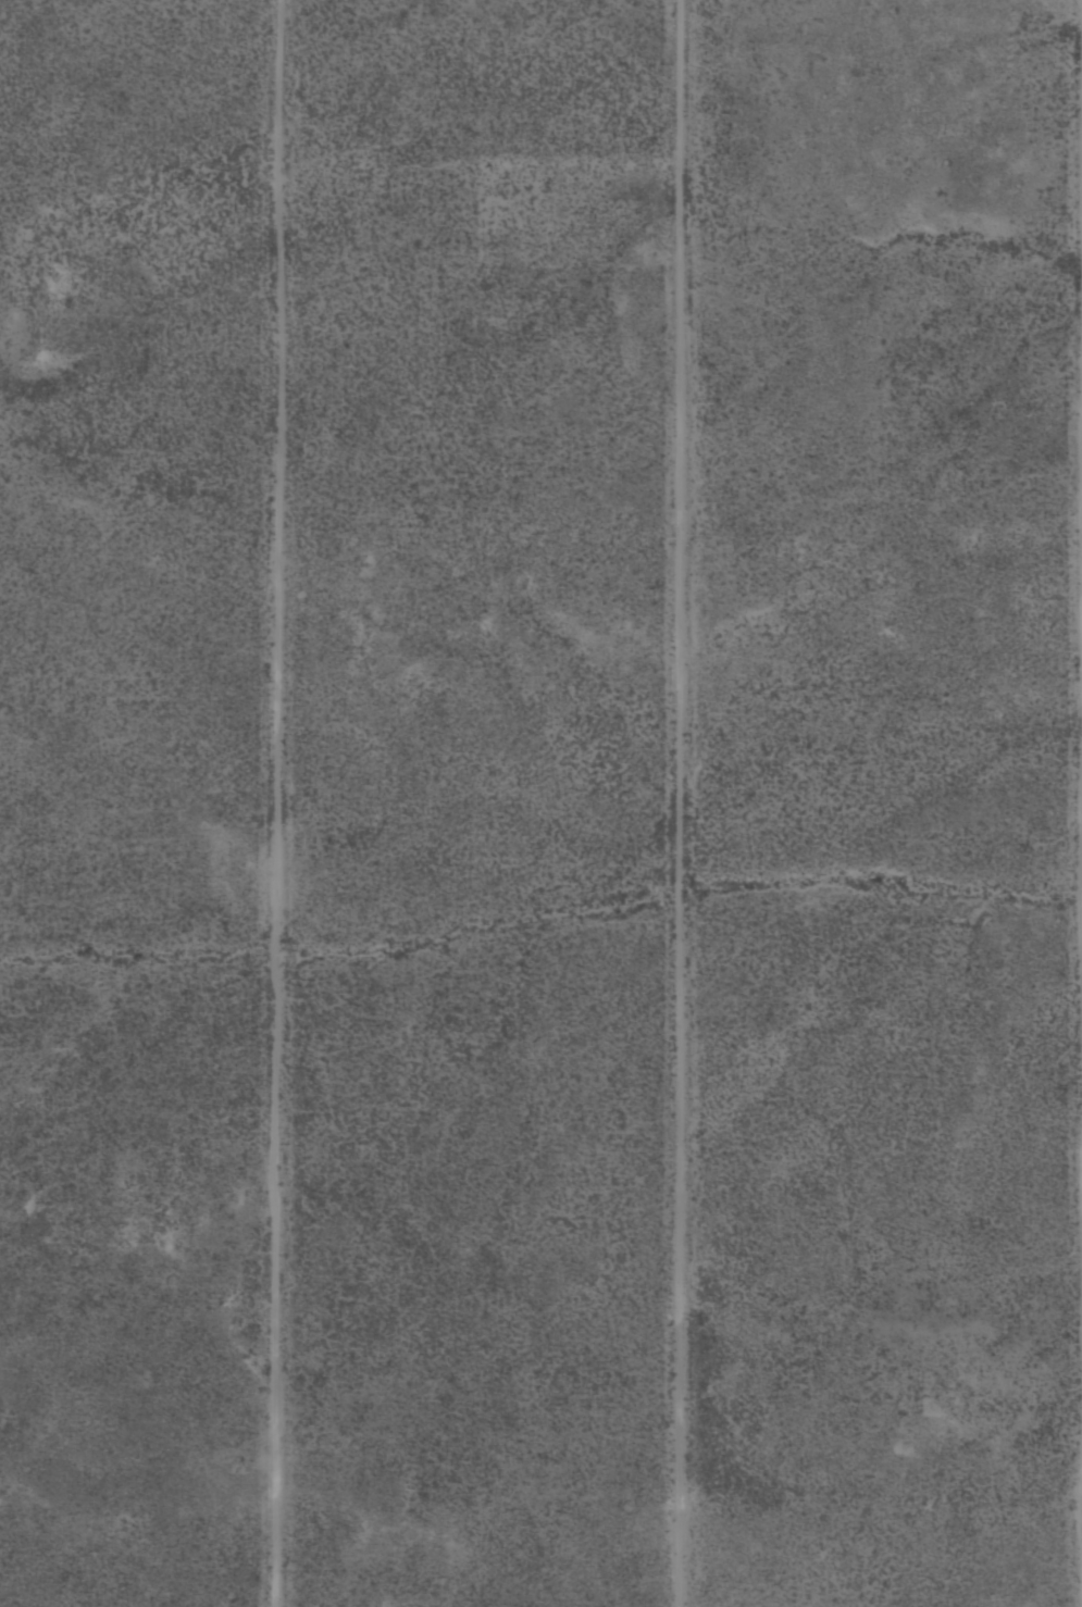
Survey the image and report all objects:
road: (287, 804)
road: (689, 804)

